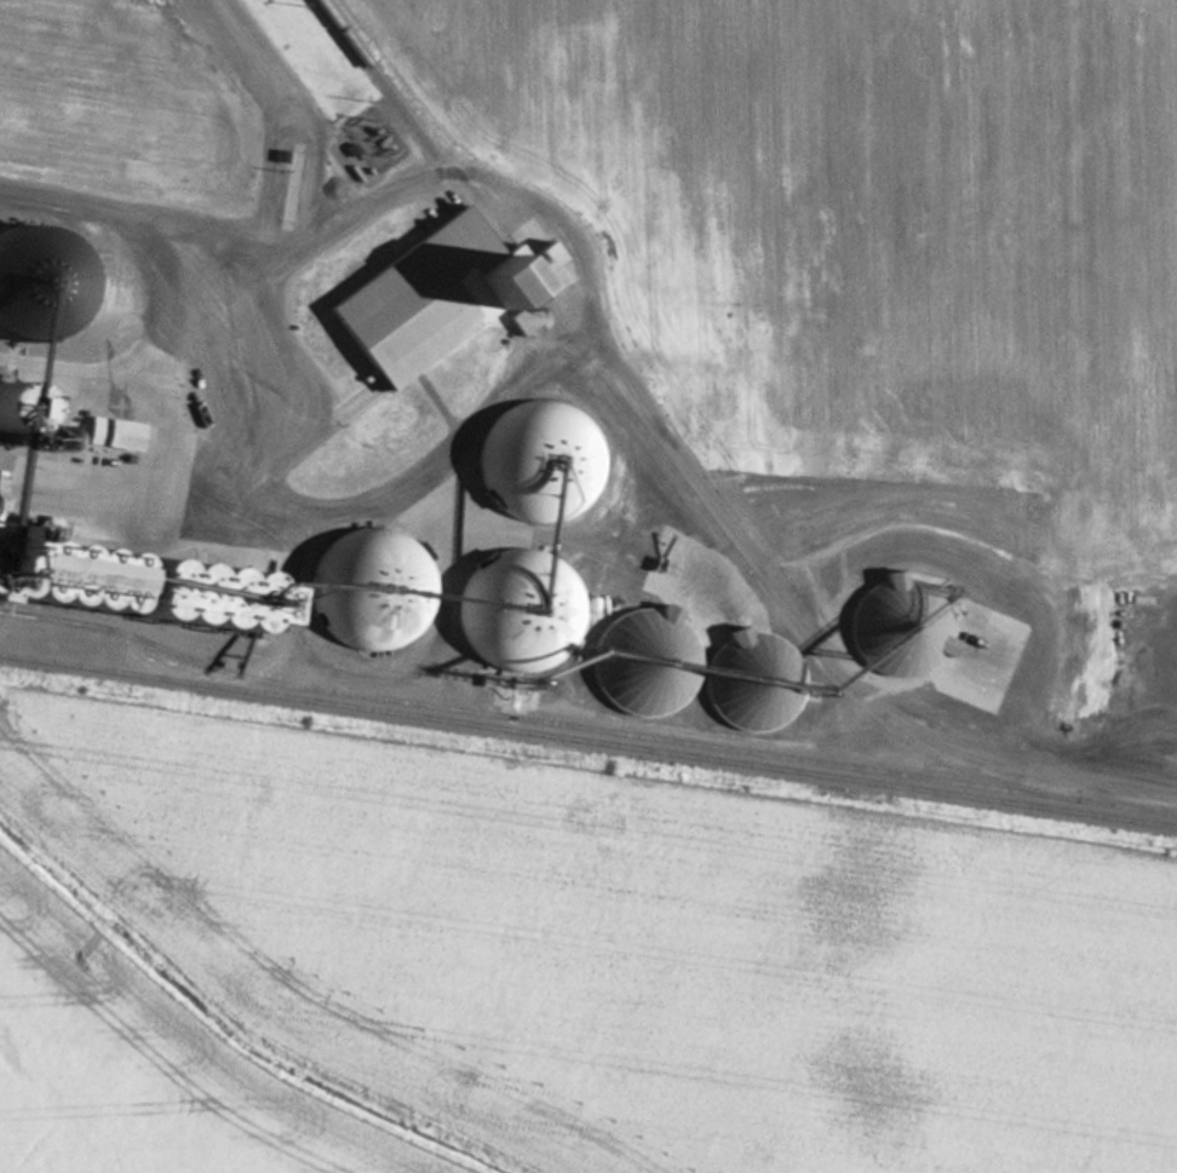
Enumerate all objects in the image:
building: (438, 295)
building: (116, 433)
building: (540, 464)
building: (368, 590)
building: (1141, 600)
building: (521, 610)
building: (643, 660)
building: (751, 680)
railway: (584, 729)
railway: (588, 740)

